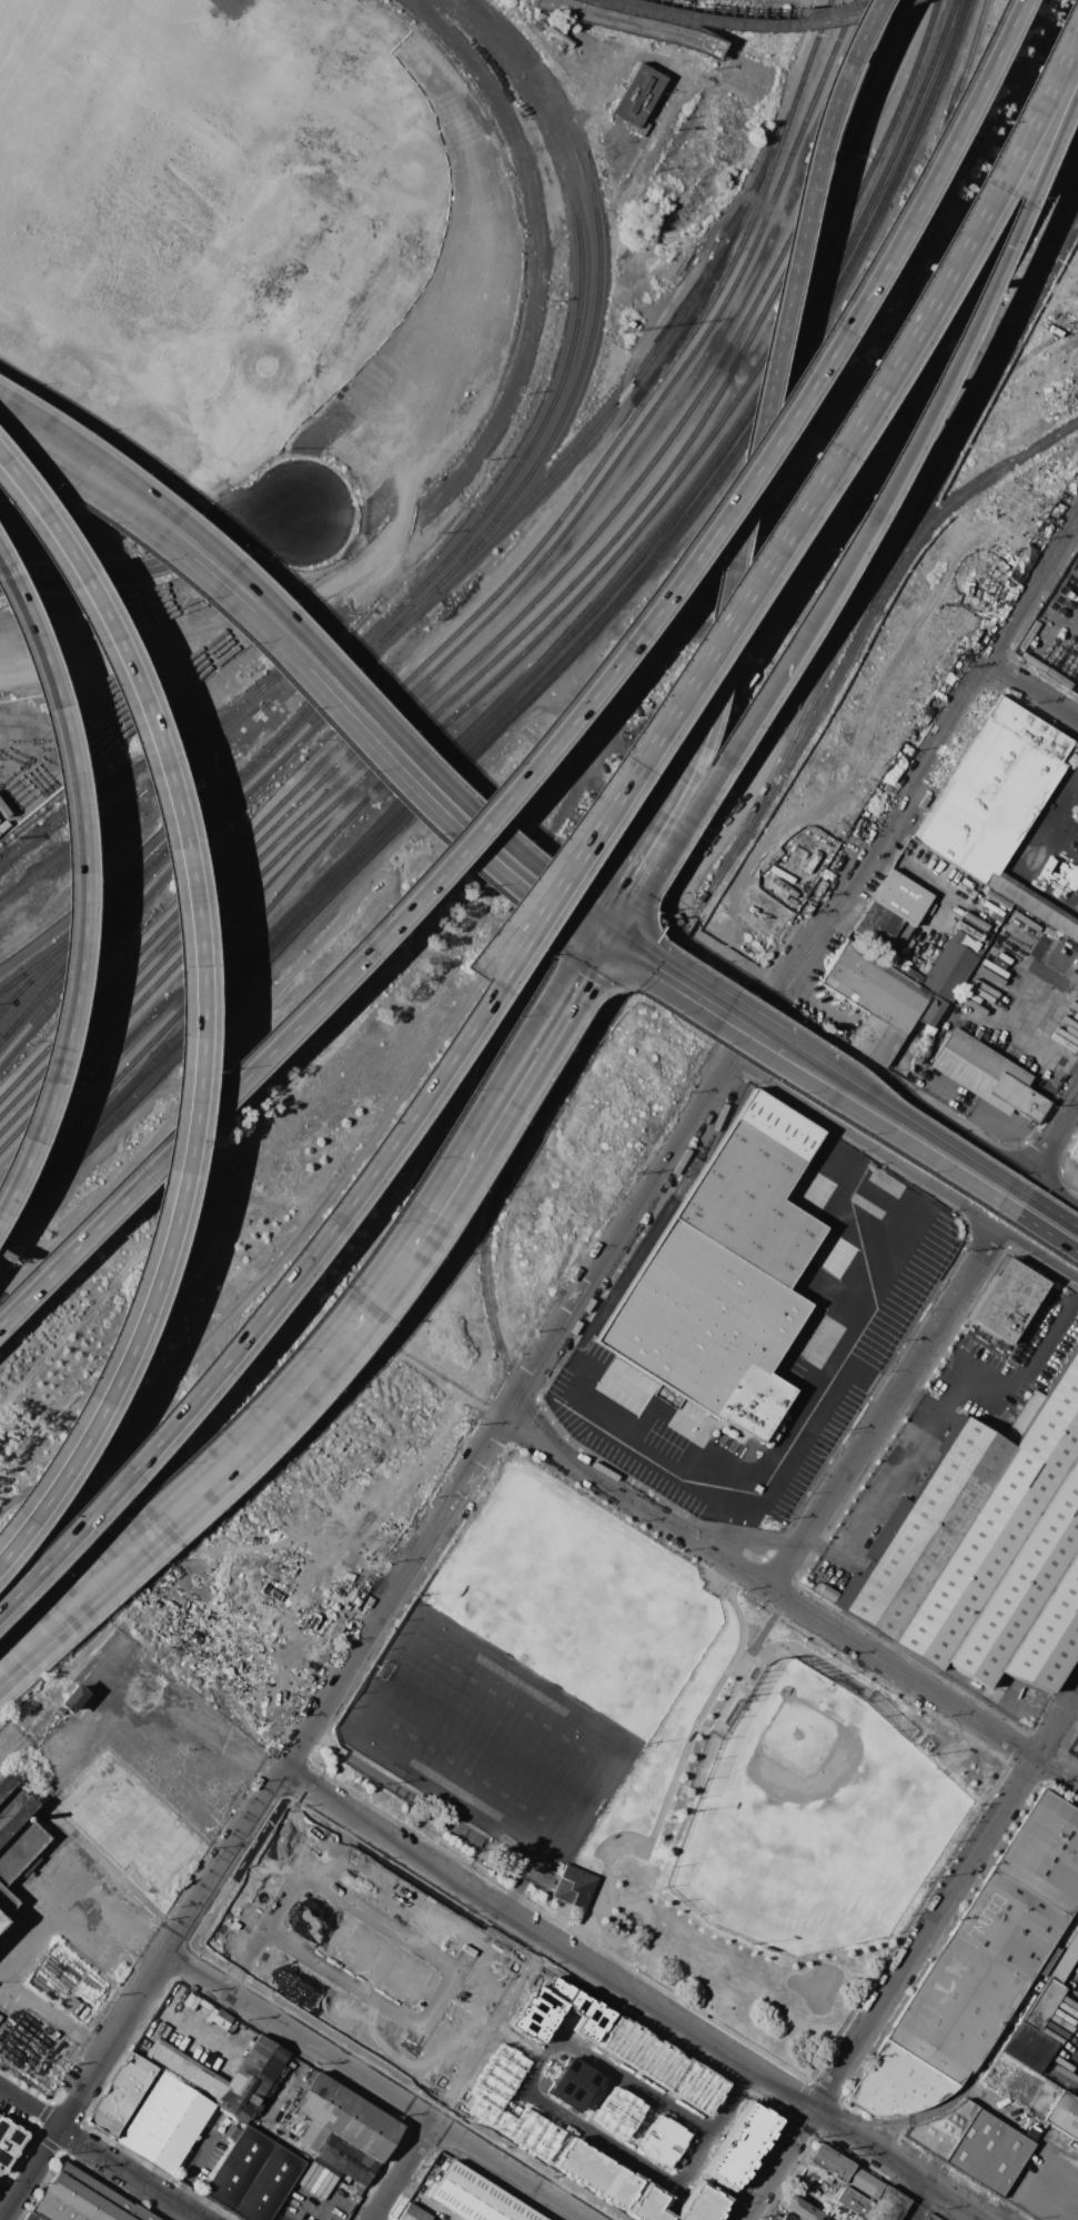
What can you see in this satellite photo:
building: (581, 11)
railway: (631, 23)
railway: (755, 28)
road: (833, 81)
building: (636, 97)
railway: (913, 112)
road: (1047, 130)
railway: (1009, 318)
railway: (1014, 331)
railway: (570, 392)
road: (762, 393)
railway: (901, 428)
road: (910, 430)
road: (71, 480)
road: (812, 481)
railway: (957, 496)
railway: (491, 500)
road: (726, 500)
railway: (683, 521)
road: (154, 564)
railway: (442, 575)
railway: (488, 600)
railway: (498, 607)
railway: (516, 617)
railway: (528, 627)
road: (308, 642)
railway: (532, 643)
road: (772, 679)
road: (292, 685)
road: (1032, 691)
road: (316, 695)
railway: (464, 744)
railway: (150, 764)
railway: (178, 764)
road: (1076, 771)
road: (1076, 774)
road: (675, 775)
building: (991, 790)
road: (1046, 815)
road: (684, 820)
railway: (194, 834)
road: (77, 861)
road: (931, 881)
railway: (698, 904)
building: (1032, 905)
road: (541, 908)
building: (890, 908)
traffic signals: (594, 917)
road: (605, 924)
road: (593, 932)
traffic signals: (616, 932)
road: (604, 940)
railway: (83, 942)
traffic signals: (593, 947)
railway: (50, 951)
building: (951, 967)
road: (578, 972)
railway: (11, 981)
railway: (51, 987)
building: (874, 987)
road: (706, 991)
railway: (14, 995)
road: (194, 1007)
building: (933, 1012)
building: (876, 1039)
road: (1059, 1059)
road: (254, 1062)
road: (818, 1062)
building: (987, 1075)
road: (794, 1076)
railway: (139, 1093)
road: (923, 1104)
road: (924, 1129)
road: (1056, 1139)
road: (465, 1147)
building: (1075, 1149)
road: (906, 1166)
road: (1057, 1172)
road: (10, 1183)
building: (756, 1189)
road: (471, 1197)
road: (1044, 1205)
road: (1038, 1226)
road: (1035, 1240)
road: (71, 1247)
road: (278, 1289)
building: (1008, 1302)
road: (566, 1322)
building: (706, 1329)
road: (949, 1382)
road: (824, 1392)
road: (913, 1403)
road: (887, 1407)
road: (653, 1455)
road: (171, 1510)
railway: (652, 1510)
road: (732, 1534)
building: (986, 1548)
park: (583, 1600)
road: (792, 1601)
railway: (855, 1641)
building: (72, 1698)
park: (488, 1739)
railway: (1041, 1759)
park: (663, 1765)
road: (14, 1782)
road: (672, 1784)
road: (38, 1805)
park: (815, 1817)
building: (1045, 1852)
building: (18, 1859)
building: (574, 1887)
road: (71, 1888)
road: (1067, 1931)
building: (1076, 1931)
road: (913, 1958)
building: (1047, 1959)
road: (1048, 1960)
building: (1065, 1961)
building: (975, 1977)
road: (1074, 1981)
railway: (617, 1985)
road: (634, 1996)
building: (1044, 2003)
road: (53, 2016)
road: (1001, 2032)
building: (1030, 2046)
road: (218, 2047)
building: (143, 2066)
road: (1064, 2067)
building: (185, 2069)
building: (251, 2078)
building: (572, 2083)
building: (897, 2083)
road: (380, 2087)
building: (688, 2095)
building: (118, 2098)
road: (30, 2110)
building: (616, 2112)
building: (1065, 2113)
building: (259, 2116)
road: (924, 2116)
building: (342, 2117)
building: (275, 2118)
building: (165, 2122)
building: (211, 2122)
building: (232, 2132)
building: (273, 2137)
building: (662, 2141)
building: (9, 2142)
building: (976, 2144)
road: (199, 2159)
building: (347, 2159)
building: (829, 2162)
road: (404, 2171)
road: (32, 2174)
road: (131, 2174)
building: (253, 2176)
building: (864, 2181)
road: (1025, 2187)
road: (335, 2194)
building: (476, 2198)
building: (84, 2200)
building: (854, 2201)
road: (920, 2202)
building: (888, 2206)
road: (328, 2207)
building: (802, 2209)
building: (413, 2213)
building: (32, 2216)
building: (787, 2217)
road: (278, 2219)

